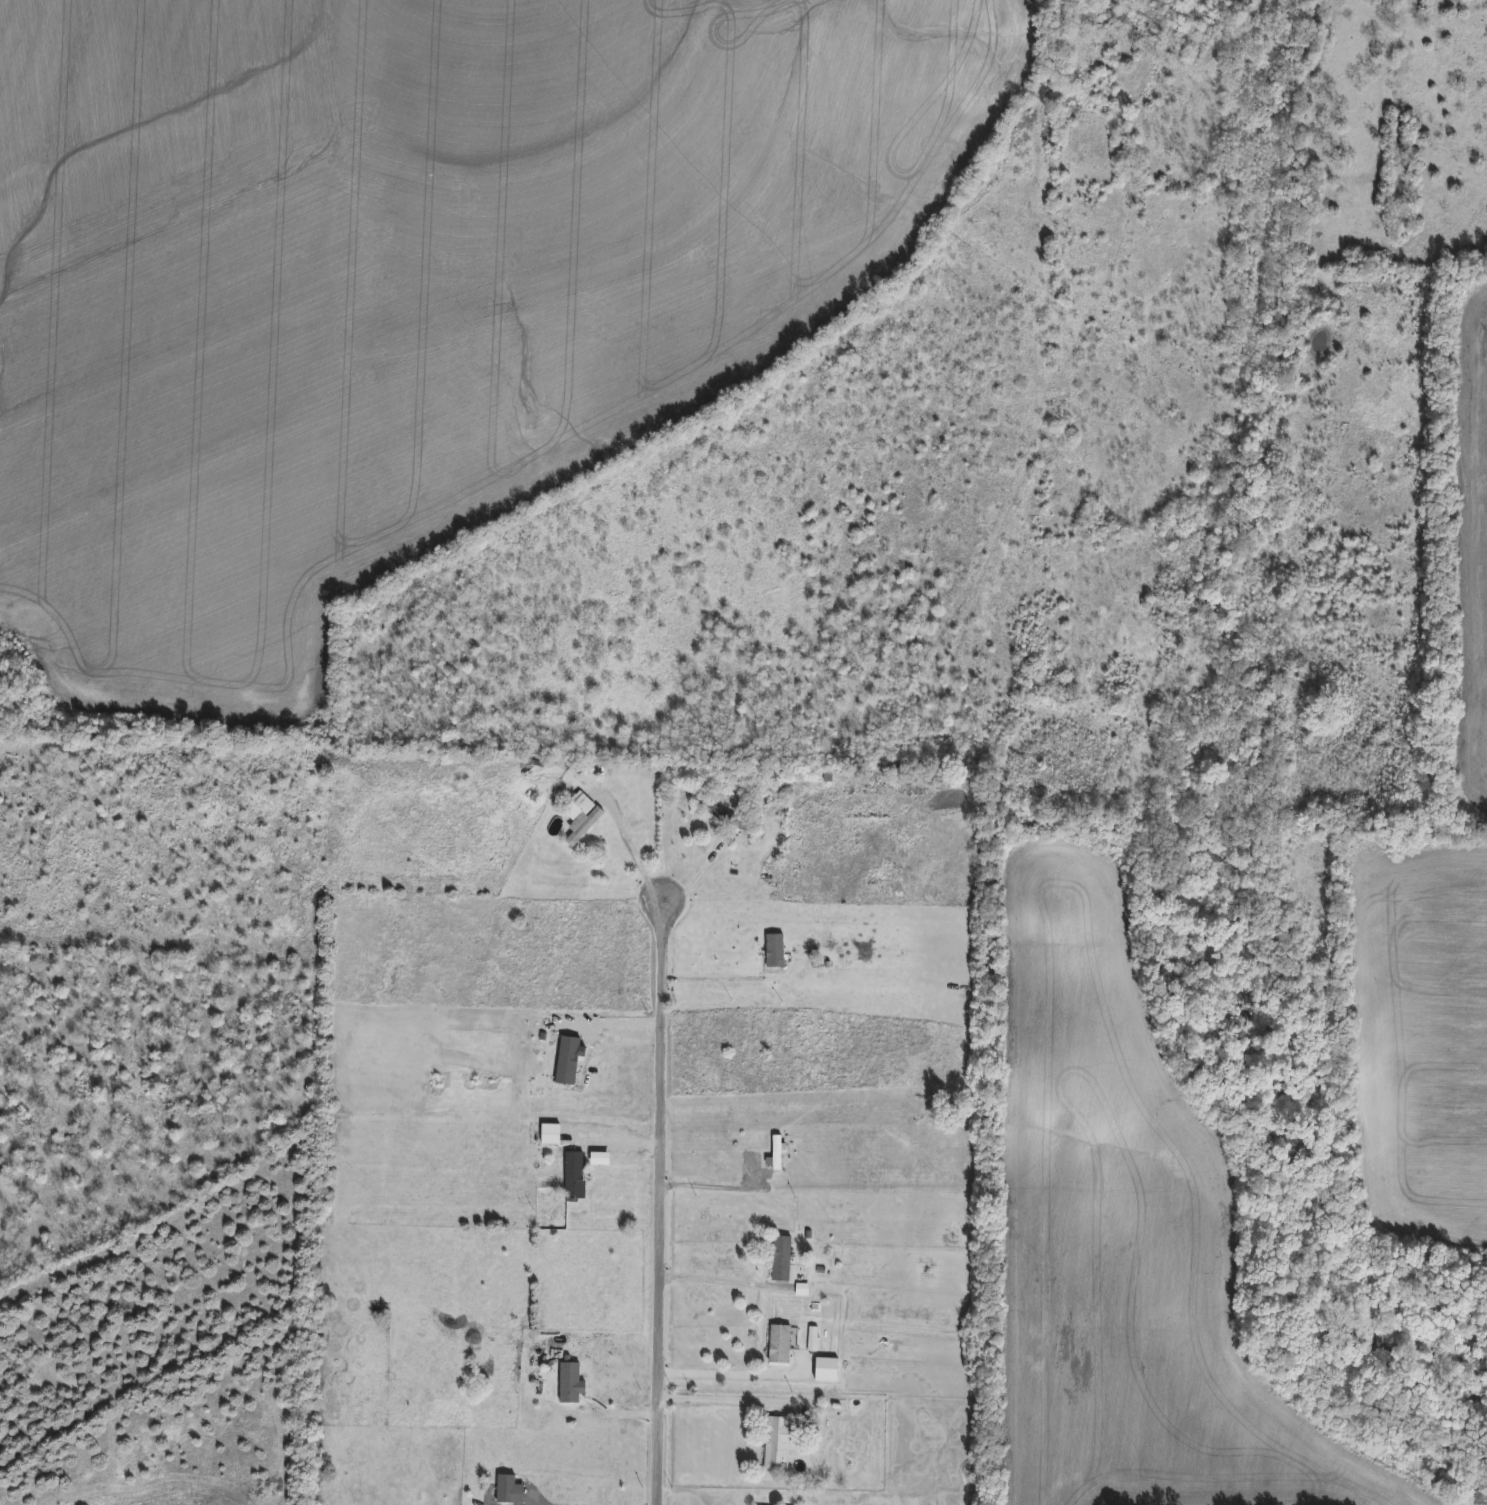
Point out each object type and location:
building: (579, 816)
building: (725, 817)
road: (623, 847)
road: (695, 880)
building: (773, 951)
road: (707, 977)
road: (610, 1026)
building: (776, 1153)
building: (572, 1175)
road: (711, 1185)
road: (657, 1205)
building: (781, 1259)
road: (715, 1279)
building: (779, 1345)
building: (825, 1370)
road: (717, 1373)
road: (717, 1398)
building: (775, 1442)
road: (578, 1502)

